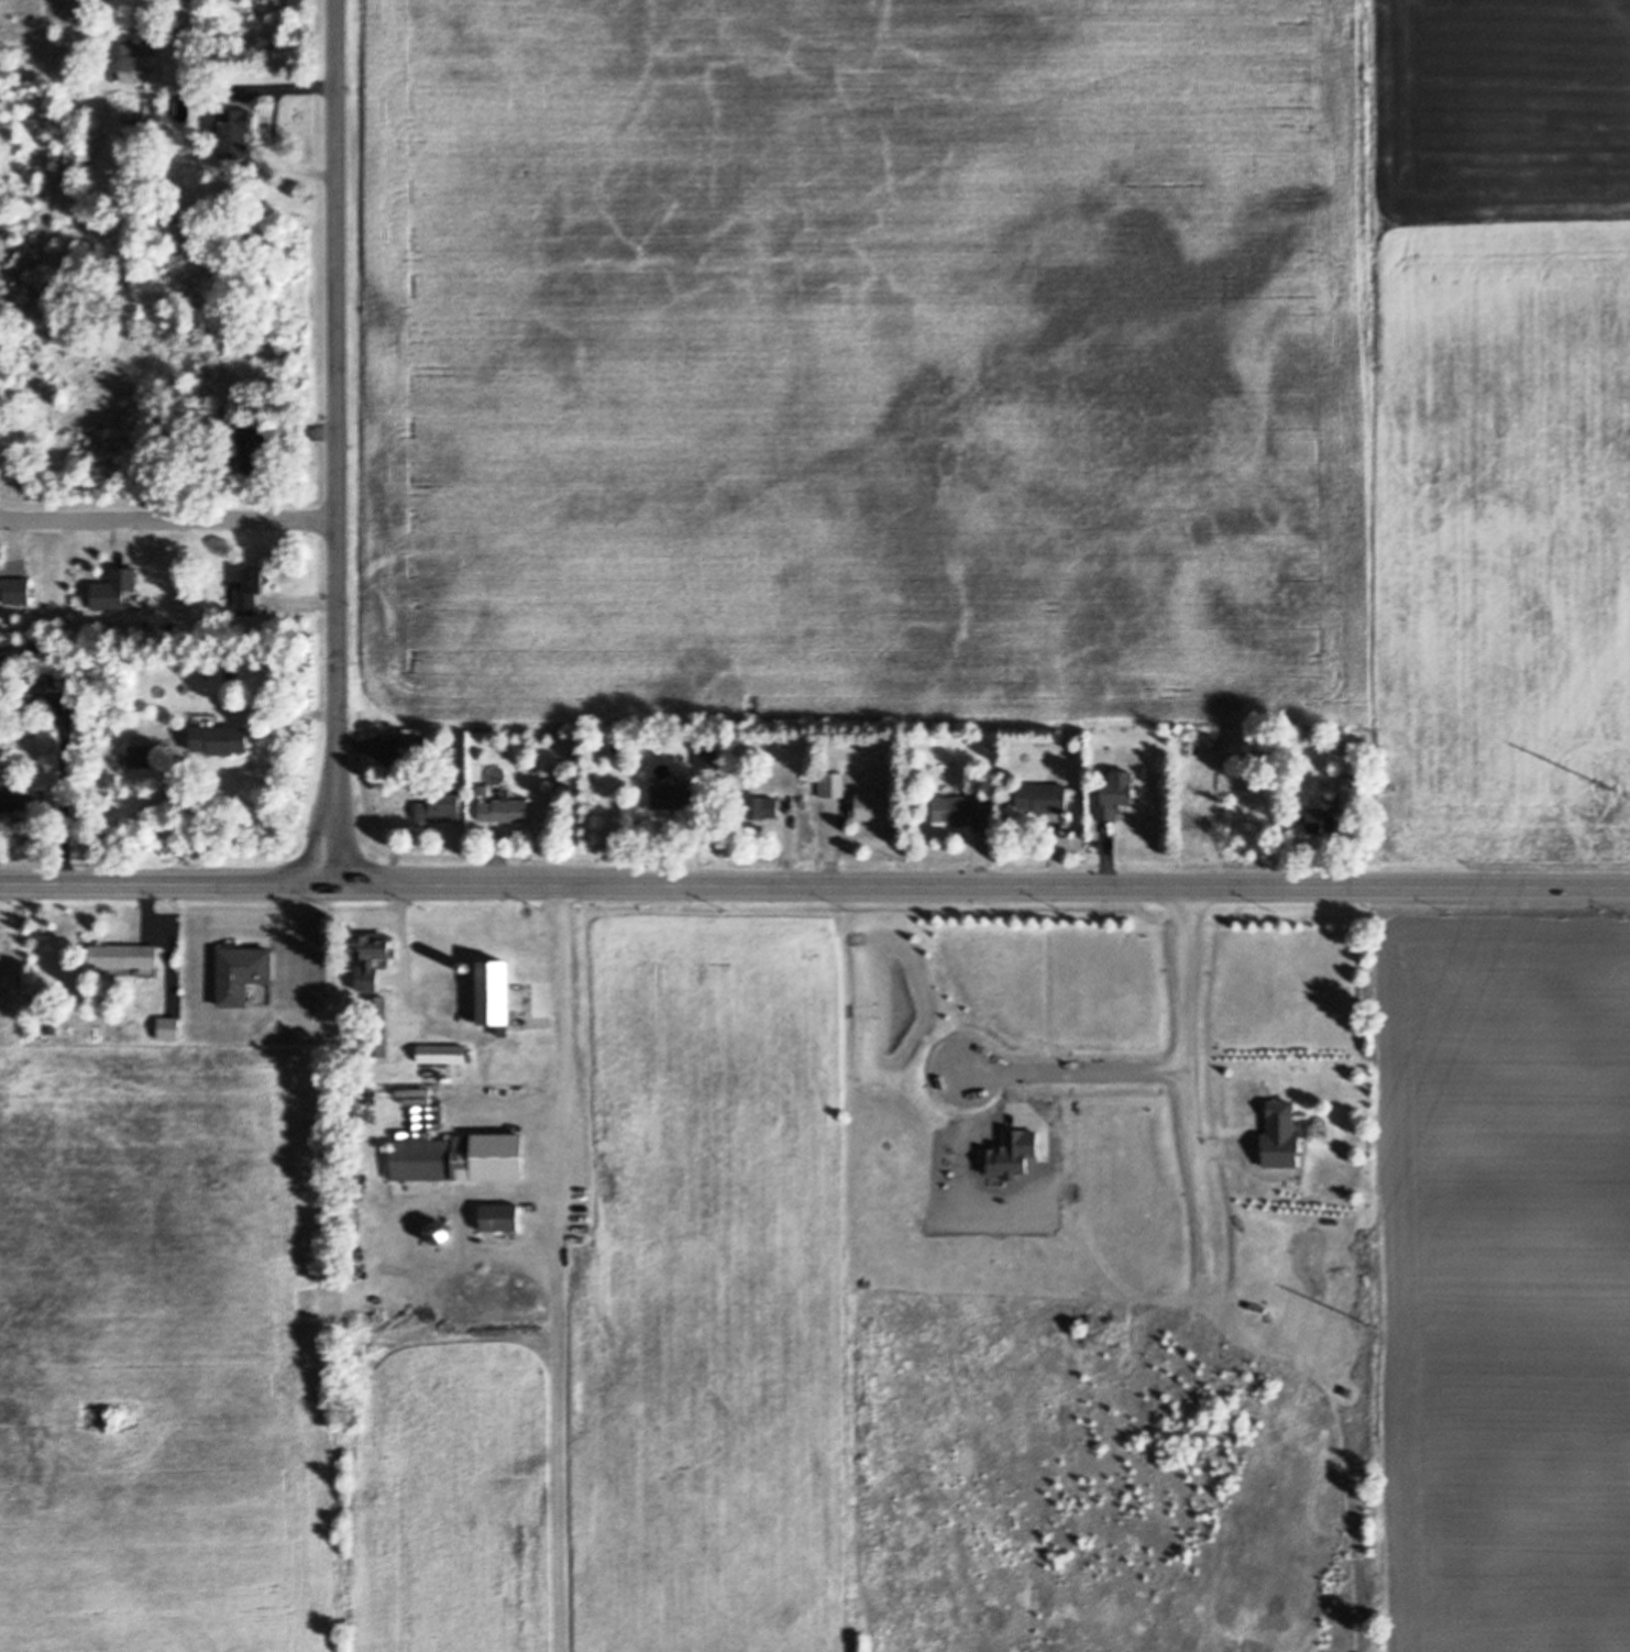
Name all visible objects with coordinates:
building: (141, 62)
road: (280, 90)
building: (235, 131)
road: (277, 154)
road: (338, 441)
building: (252, 449)
road: (168, 519)
building: (112, 590)
building: (14, 591)
building: (232, 591)
building: (249, 591)
building: (135, 599)
building: (199, 625)
building: (1, 671)
building: (37, 682)
building: (13, 703)
building: (206, 720)
building: (189, 723)
building: (218, 739)
building: (414, 741)
building: (618, 745)
building: (140, 756)
building: (708, 757)
building: (805, 774)
building: (1105, 775)
power tower: (1609, 779)
building: (1057, 781)
building: (833, 783)
building: (1071, 790)
building: (1351, 791)
road: (64, 792)
building: (1114, 793)
building: (674, 796)
building: (1043, 796)
building: (22, 799)
building: (804, 800)
building: (871, 805)
building: (962, 805)
building: (762, 806)
building: (440, 810)
building: (504, 810)
building: (1318, 819)
building: (957, 822)
building: (502, 823)
road: (168, 884)
road: (859, 886)
road: (1506, 886)
building: (124, 956)
building: (370, 957)
building: (124, 970)
building: (137, 970)
building: (147, 971)
building: (240, 971)
building: (470, 971)
building: (106, 972)
building: (494, 994)
building: (377, 1025)
building: (51, 1027)
building: (169, 1027)
building: (442, 1053)
road: (1071, 1073)
road: (1186, 1080)
building: (1302, 1125)
building: (1280, 1135)
building: (1308, 1136)
building: (351, 1156)
building: (459, 1157)
building: (519, 1180)
building: (499, 1181)
building: (506, 1181)
building: (514, 1181)
building: (500, 1216)
road: (550, 1268)
power tower: (1372, 1322)

